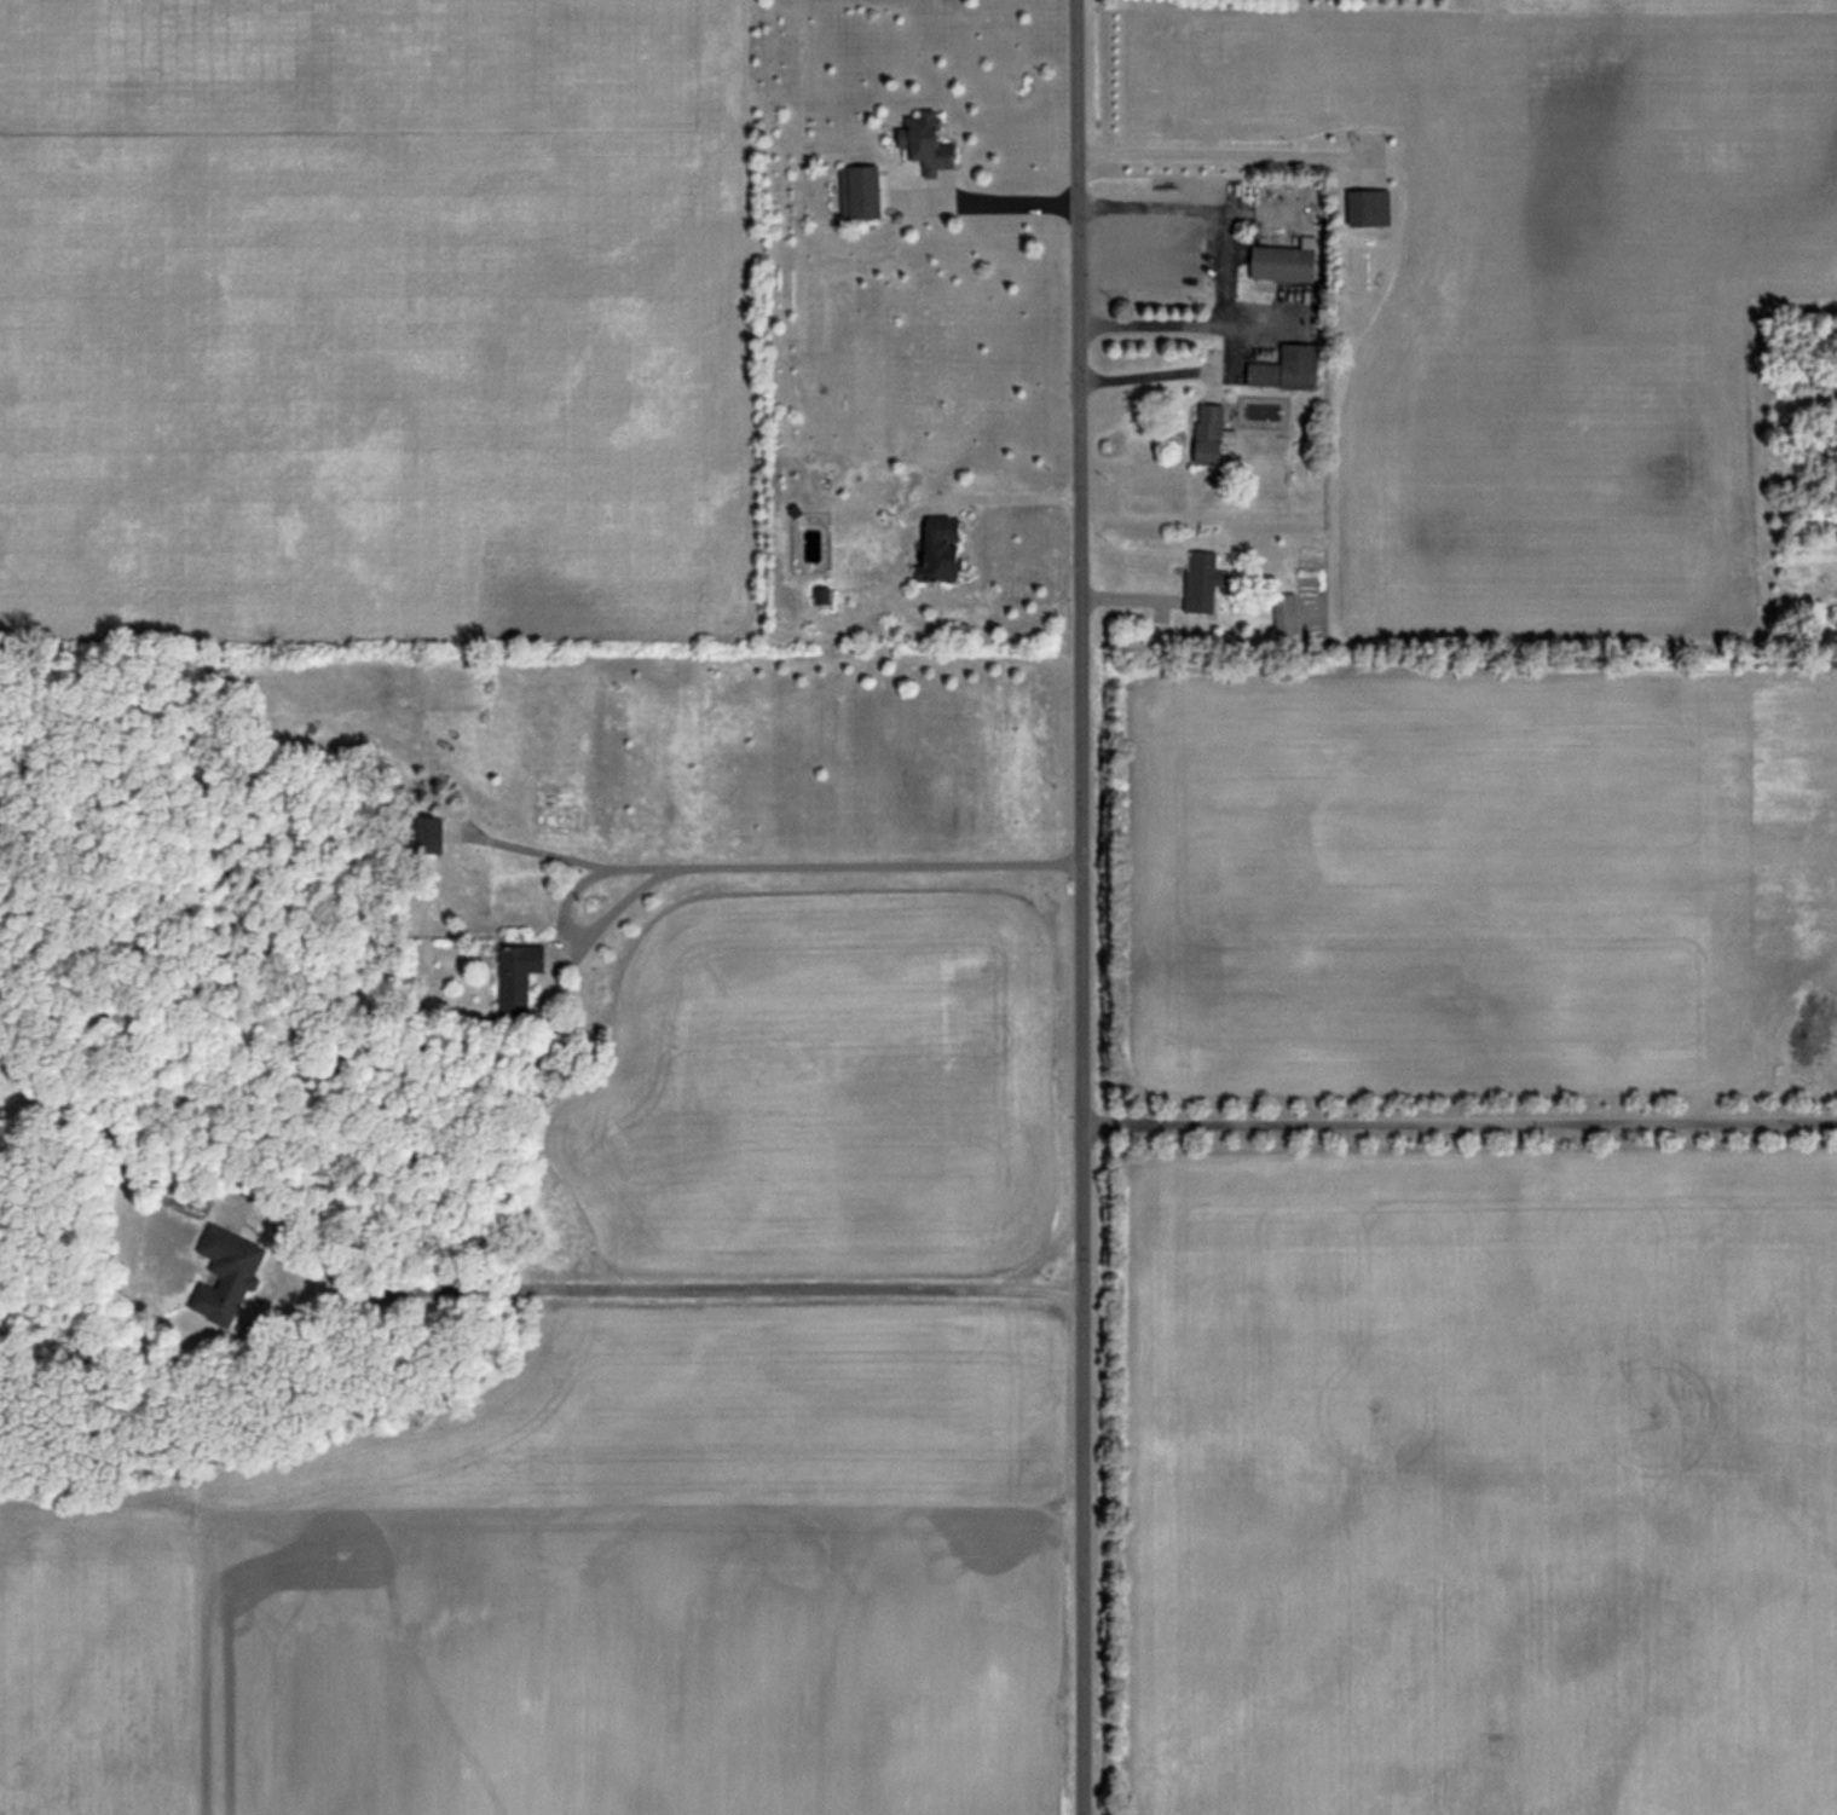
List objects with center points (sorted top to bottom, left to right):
building: (930, 146)
building: (866, 193)
road: (1006, 202)
building: (1373, 209)
building: (1290, 264)
road: (1220, 288)
road: (1188, 324)
building: (1293, 369)
building: (1215, 433)
building: (948, 548)
building: (1205, 582)
building: (1288, 613)
road: (734, 862)
road: (1082, 907)
building: (521, 972)
road: (1460, 1125)
building: (233, 1261)

